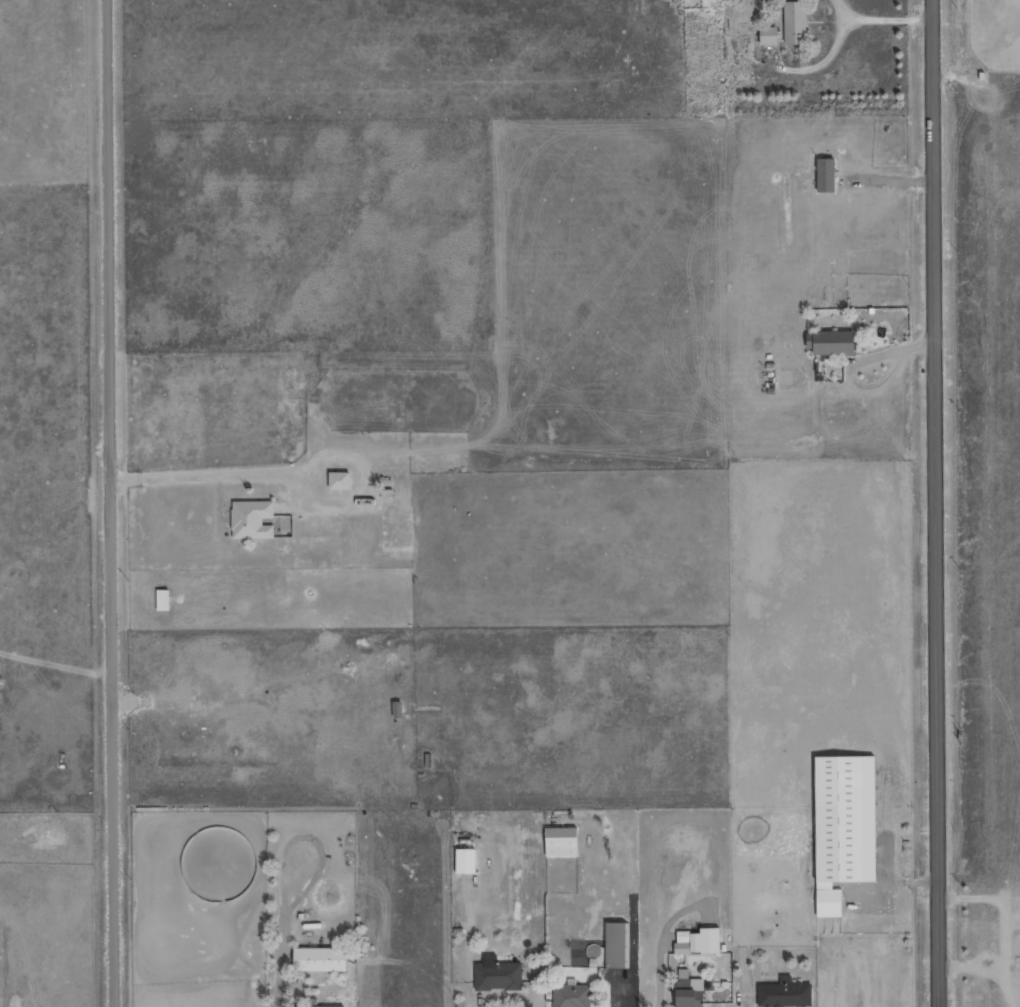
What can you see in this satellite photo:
building: (795, 21)
building: (769, 36)
building: (828, 175)
building: (834, 343)
building: (341, 480)
road: (112, 503)
road: (935, 503)
building: (253, 520)
building: (165, 600)
building: (399, 710)
building: (846, 827)
building: (564, 842)
building: (467, 861)
building: (701, 942)
building: (618, 945)
building: (322, 960)
building: (498, 975)
building: (690, 990)
building: (786, 994)
building: (573, 996)
building: (312, 1003)

